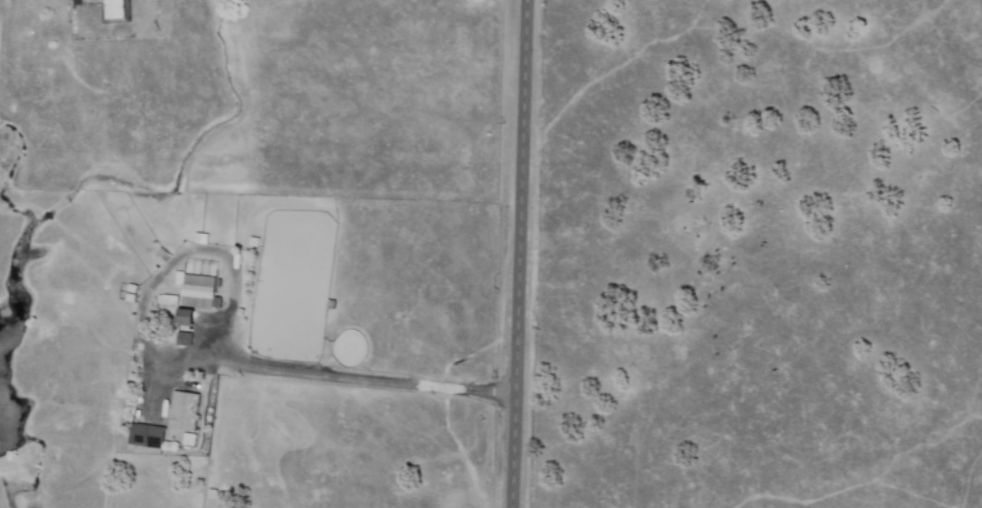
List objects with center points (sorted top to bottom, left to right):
building: (6, 5)
building: (116, 11)
building: (201, 240)
building: (230, 243)
building: (162, 253)
road: (517, 253)
building: (178, 279)
building: (130, 290)
building: (198, 293)
building: (130, 299)
building: (169, 299)
building: (186, 317)
building: (185, 339)
building: (131, 355)
building: (184, 412)
building: (149, 437)
building: (189, 440)

